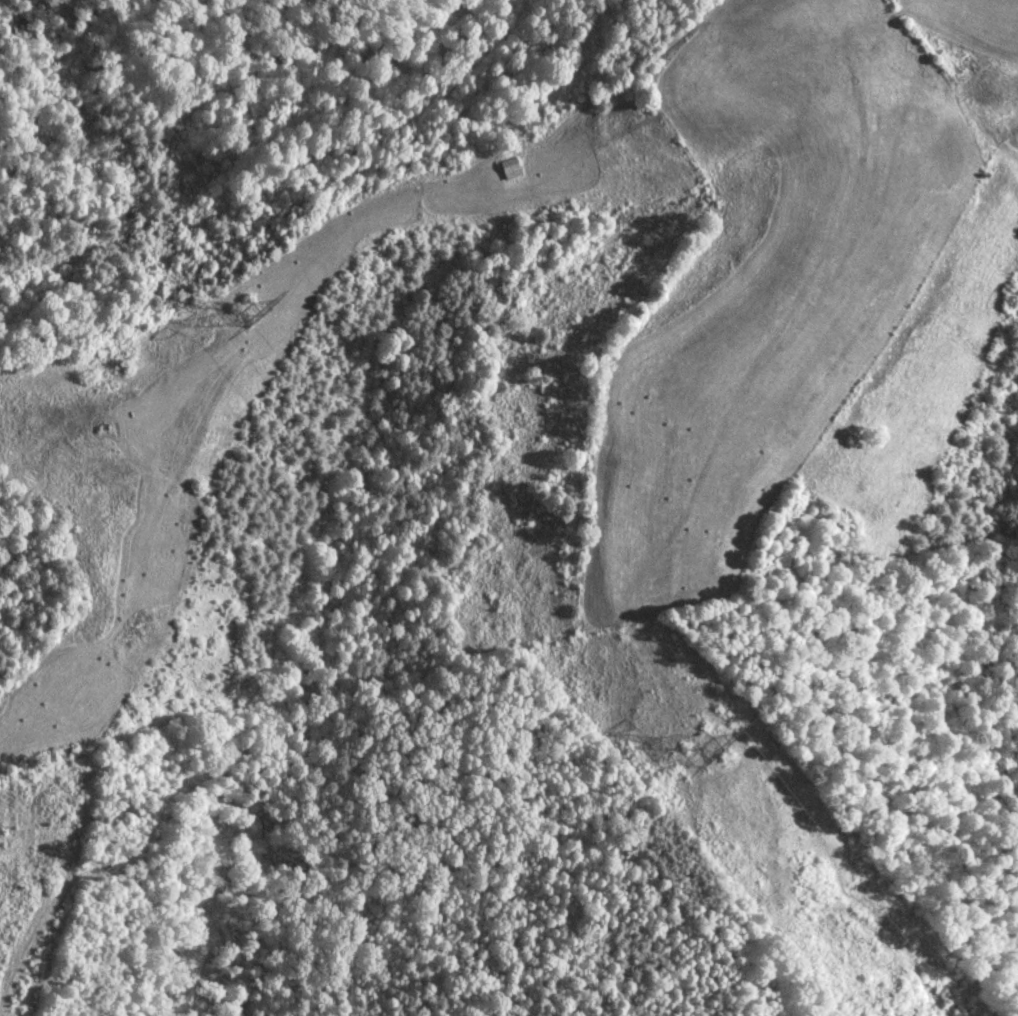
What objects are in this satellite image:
building: (511, 168)
power tower: (250, 315)
power tower: (702, 756)

